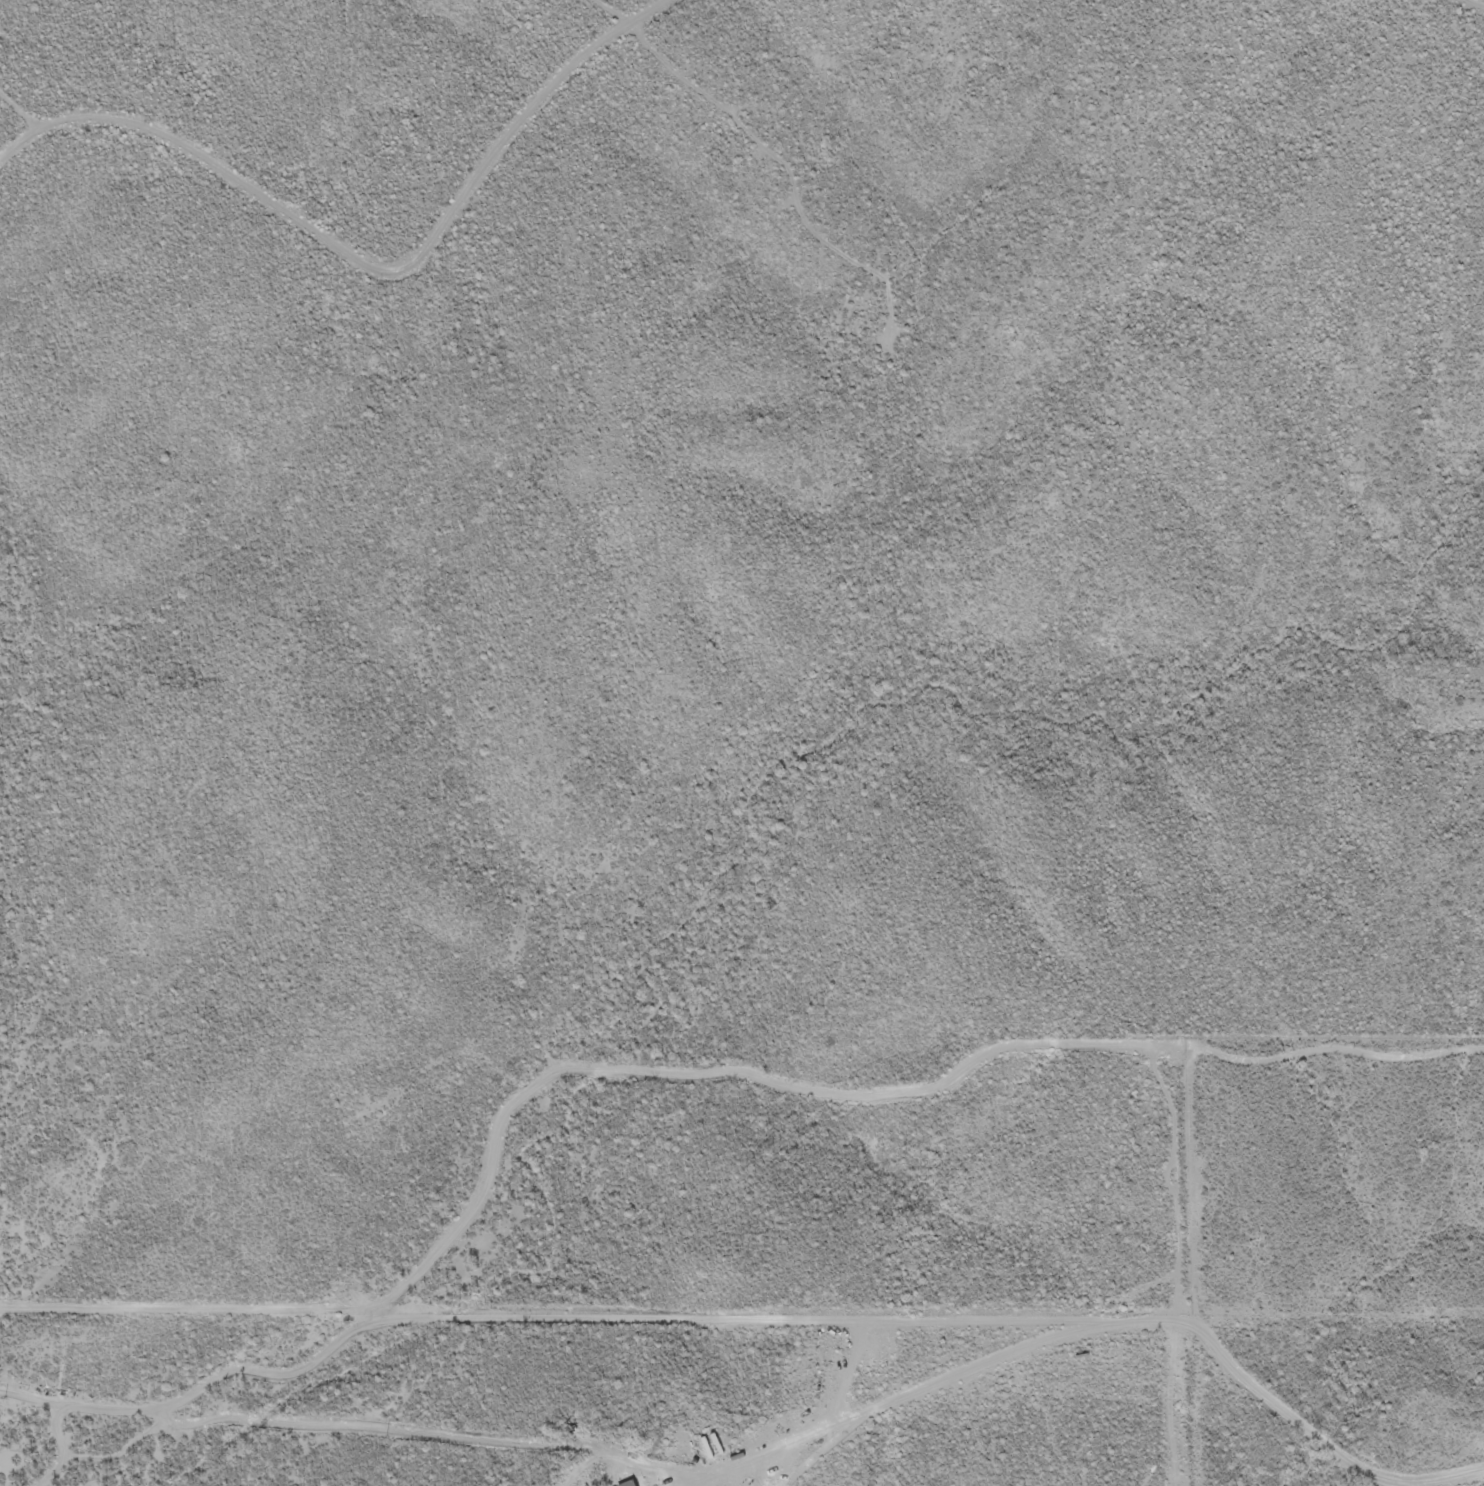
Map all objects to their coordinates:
road: (1483, 0)
road: (368, 264)
road: (947, 1116)
road: (1144, 1339)
building: (628, 1482)

